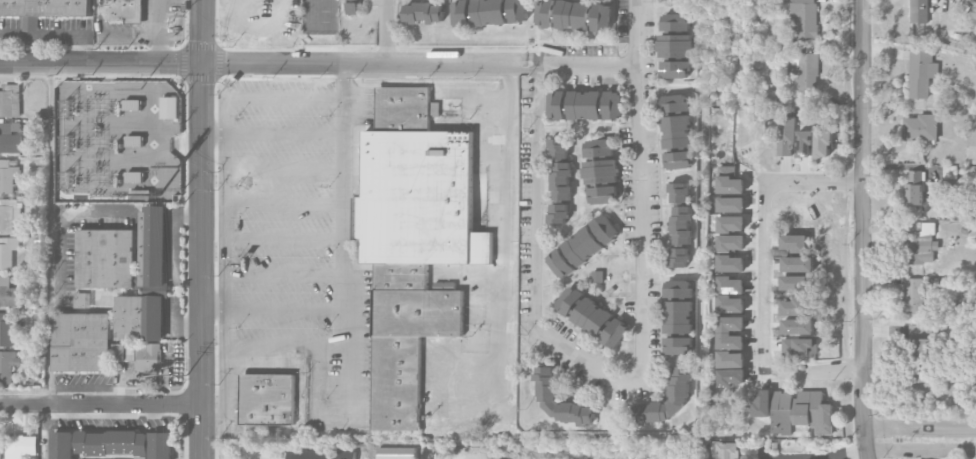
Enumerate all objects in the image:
building: (353, 7)
building: (43, 9)
building: (122, 10)
building: (919, 11)
building: (491, 12)
building: (425, 13)
building: (575, 14)
building: (804, 19)
road: (156, 31)
road: (202, 31)
road: (634, 31)
road: (384, 32)
road: (54, 34)
building: (676, 45)
road: (100, 63)
traffic signals: (202, 63)
road: (369, 64)
building: (805, 70)
road: (107, 71)
building: (921, 72)
power tower: (140, 89)
building: (10, 101)
building: (674, 103)
building: (132, 104)
building: (558, 105)
building: (596, 105)
building: (170, 108)
building: (921, 127)
building: (677, 131)
road: (272, 135)
building: (785, 135)
building: (9, 140)
power substation: (117, 141)
building: (823, 143)
road: (187, 144)
building: (804, 144)
building: (599, 147)
building: (679, 160)
building: (131, 163)
power tower: (179, 165)
building: (560, 170)
building: (601, 171)
building: (7, 176)
road: (49, 178)
building: (914, 188)
building: (680, 192)
building: (141, 194)
building: (603, 195)
building: (9, 213)
building: (558, 213)
road: (505, 224)
building: (731, 224)
building: (682, 225)
road: (862, 229)
building: (414, 240)
road: (346, 242)
building: (731, 243)
building: (922, 244)
building: (582, 246)
building: (8, 251)
building: (680, 257)
building: (107, 258)
road: (202, 261)
building: (730, 263)
road: (763, 276)
building: (147, 283)
building: (679, 288)
building: (9, 293)
building: (913, 295)
building: (963, 299)
building: (81, 300)
building: (571, 301)
road: (275, 307)
building: (679, 317)
building: (602, 323)
building: (8, 329)
building: (730, 332)
building: (82, 342)
building: (919, 342)
building: (679, 345)
building: (799, 346)
road: (569, 348)
building: (143, 356)
building: (731, 359)
building: (7, 365)
power tower: (186, 375)
building: (680, 384)
building: (547, 385)
building: (267, 398)
road: (101, 405)
building: (801, 412)
road: (919, 428)
road: (45, 432)
building: (126, 443)
building: (62, 445)
building: (21, 446)
building: (0, 449)
building: (725, 450)
road: (763, 451)
building: (321, 454)
road: (848, 454)
road: (424, 455)

